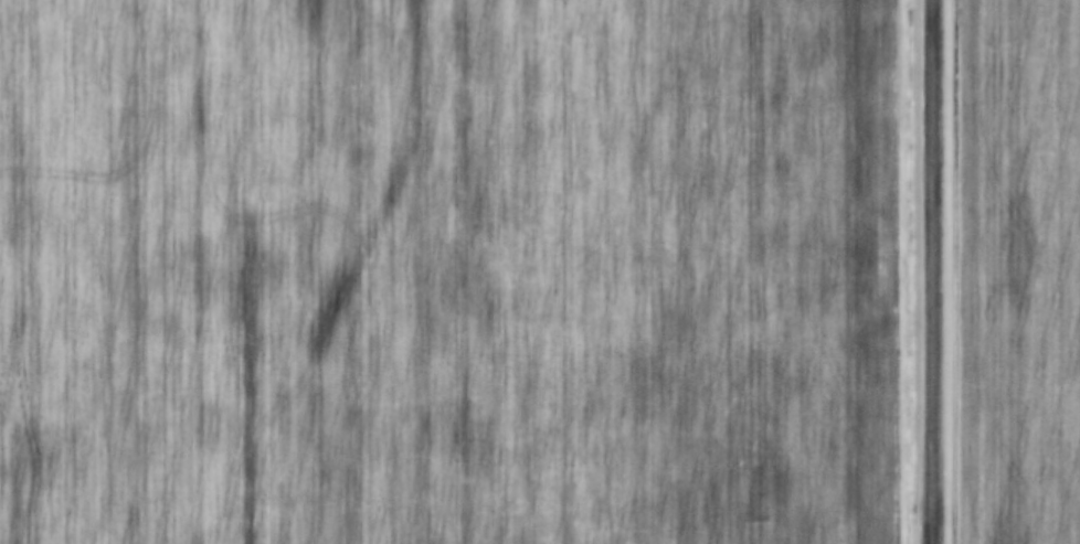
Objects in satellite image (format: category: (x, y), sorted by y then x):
road: (935, 271)

